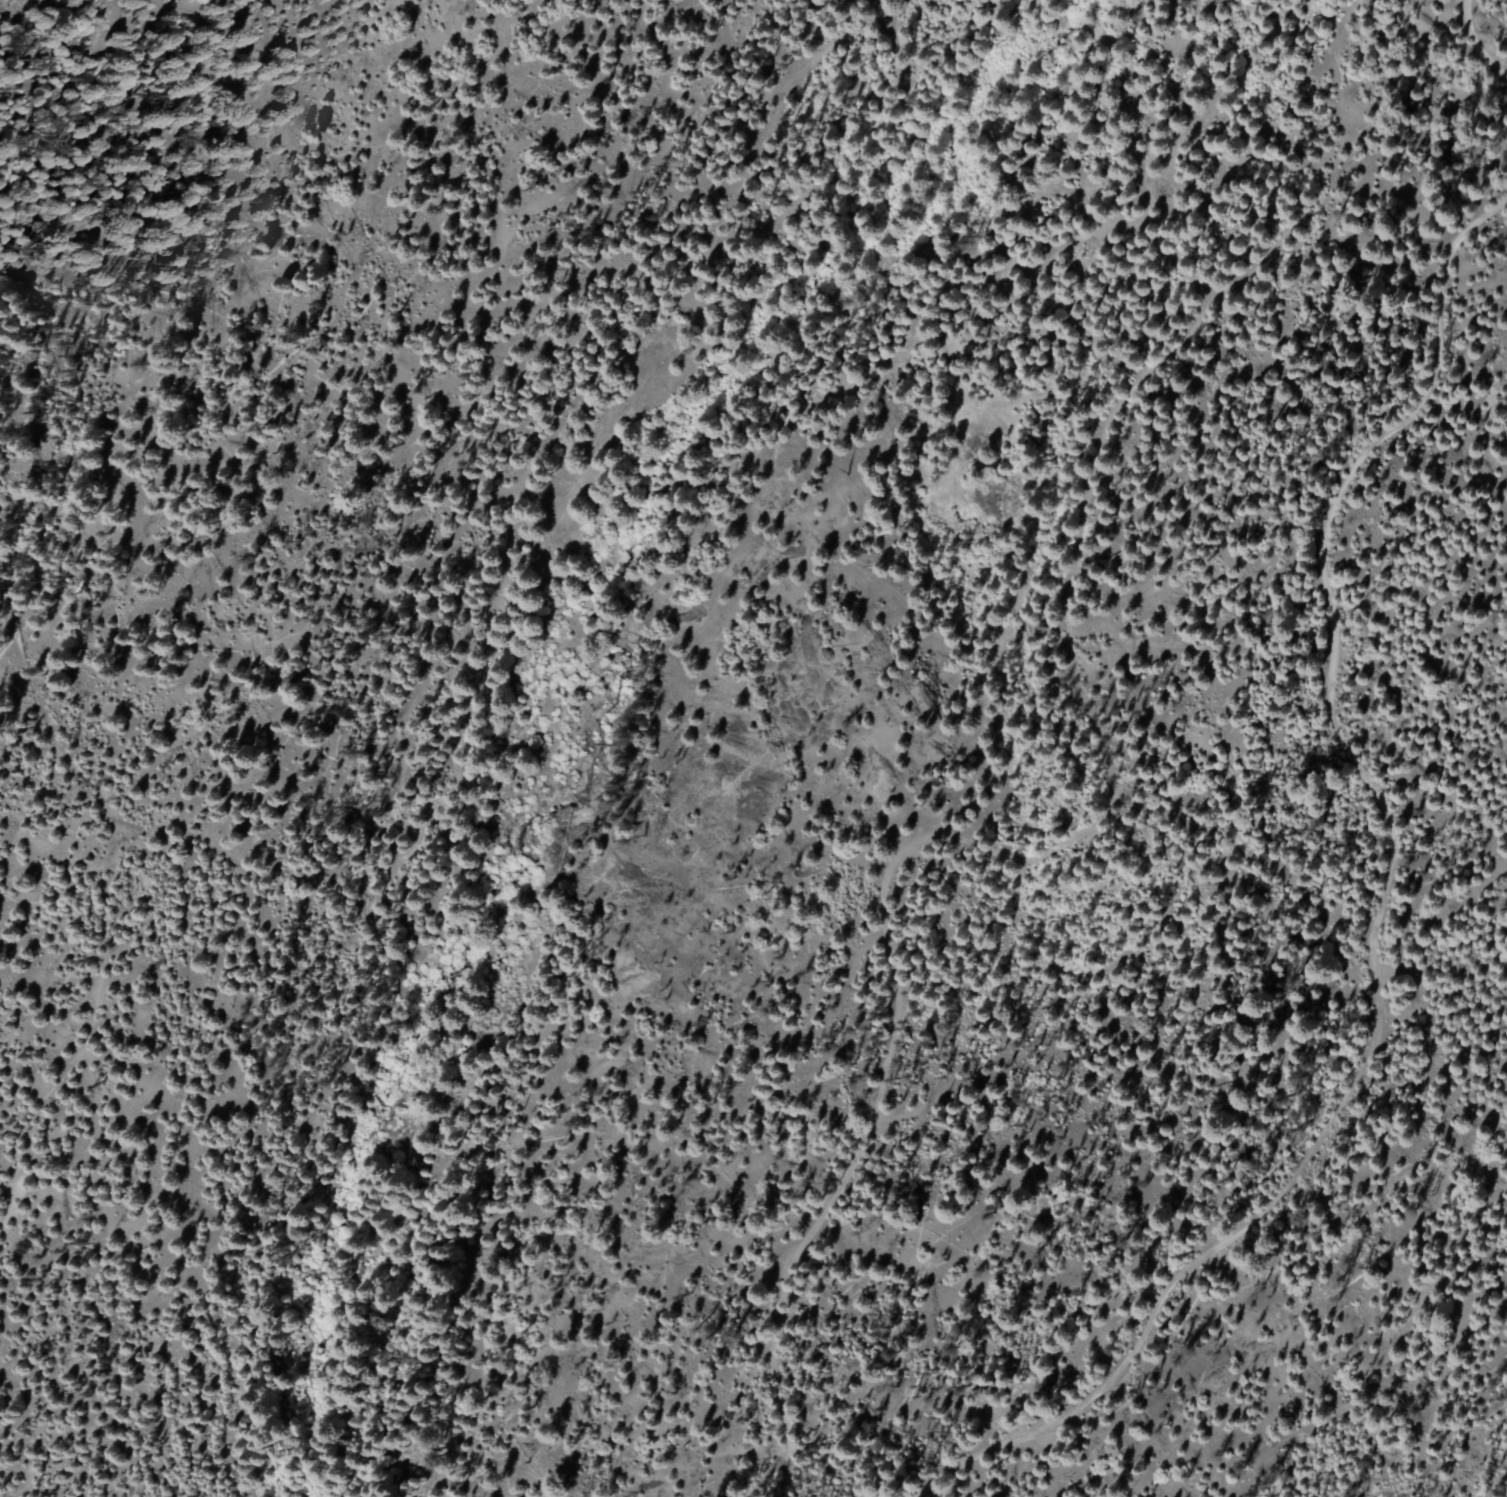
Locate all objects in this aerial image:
road: (1479, 41)
road: (1387, 921)

